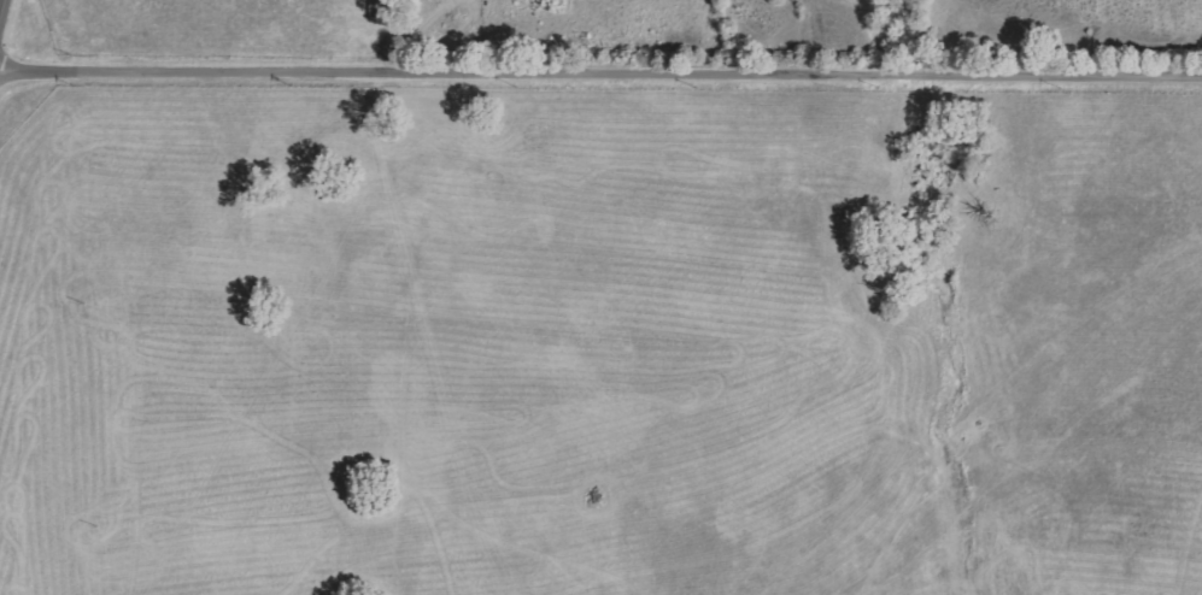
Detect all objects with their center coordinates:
road: (600, 72)

